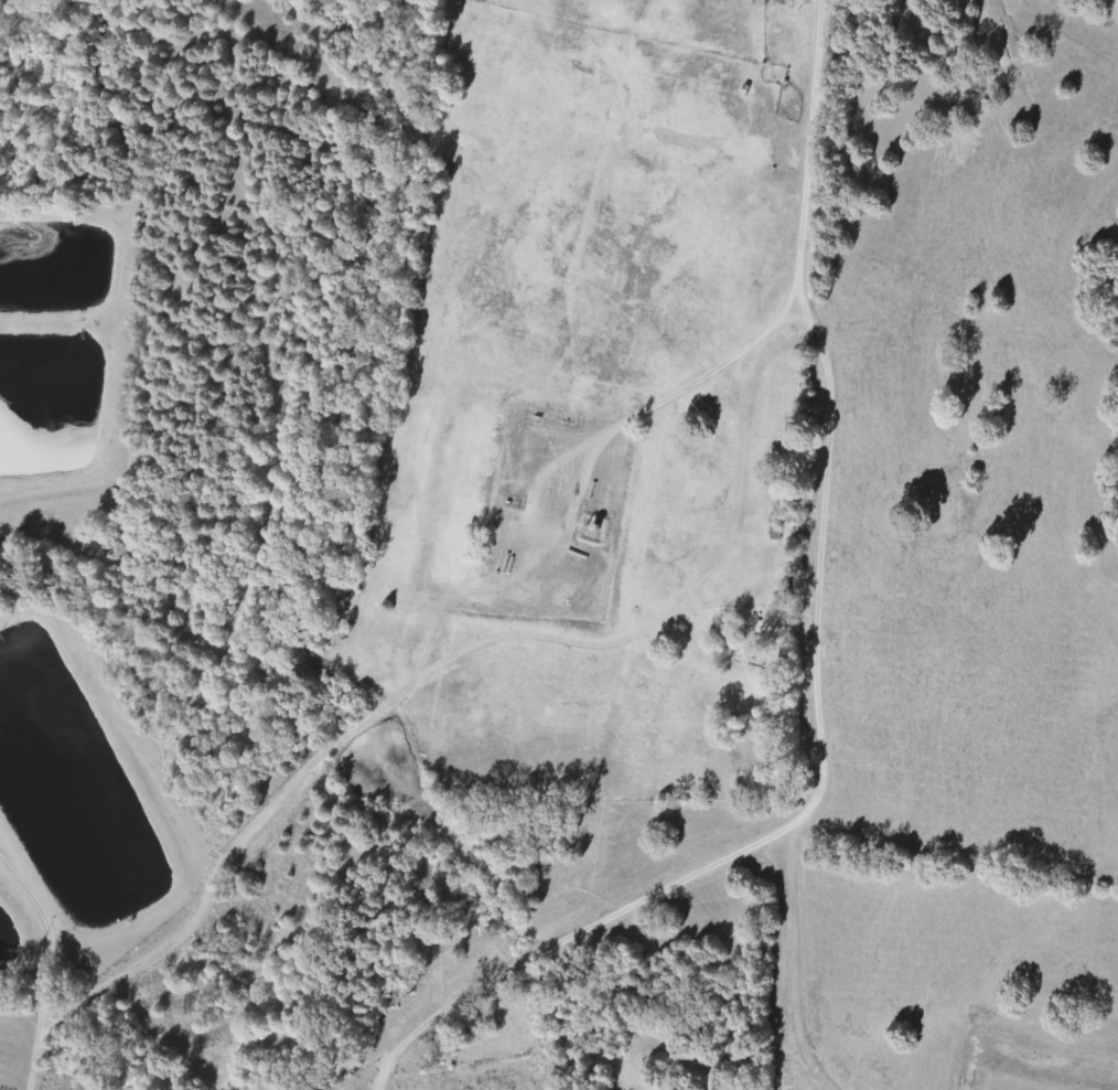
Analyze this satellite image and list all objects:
road: (34, 962)

